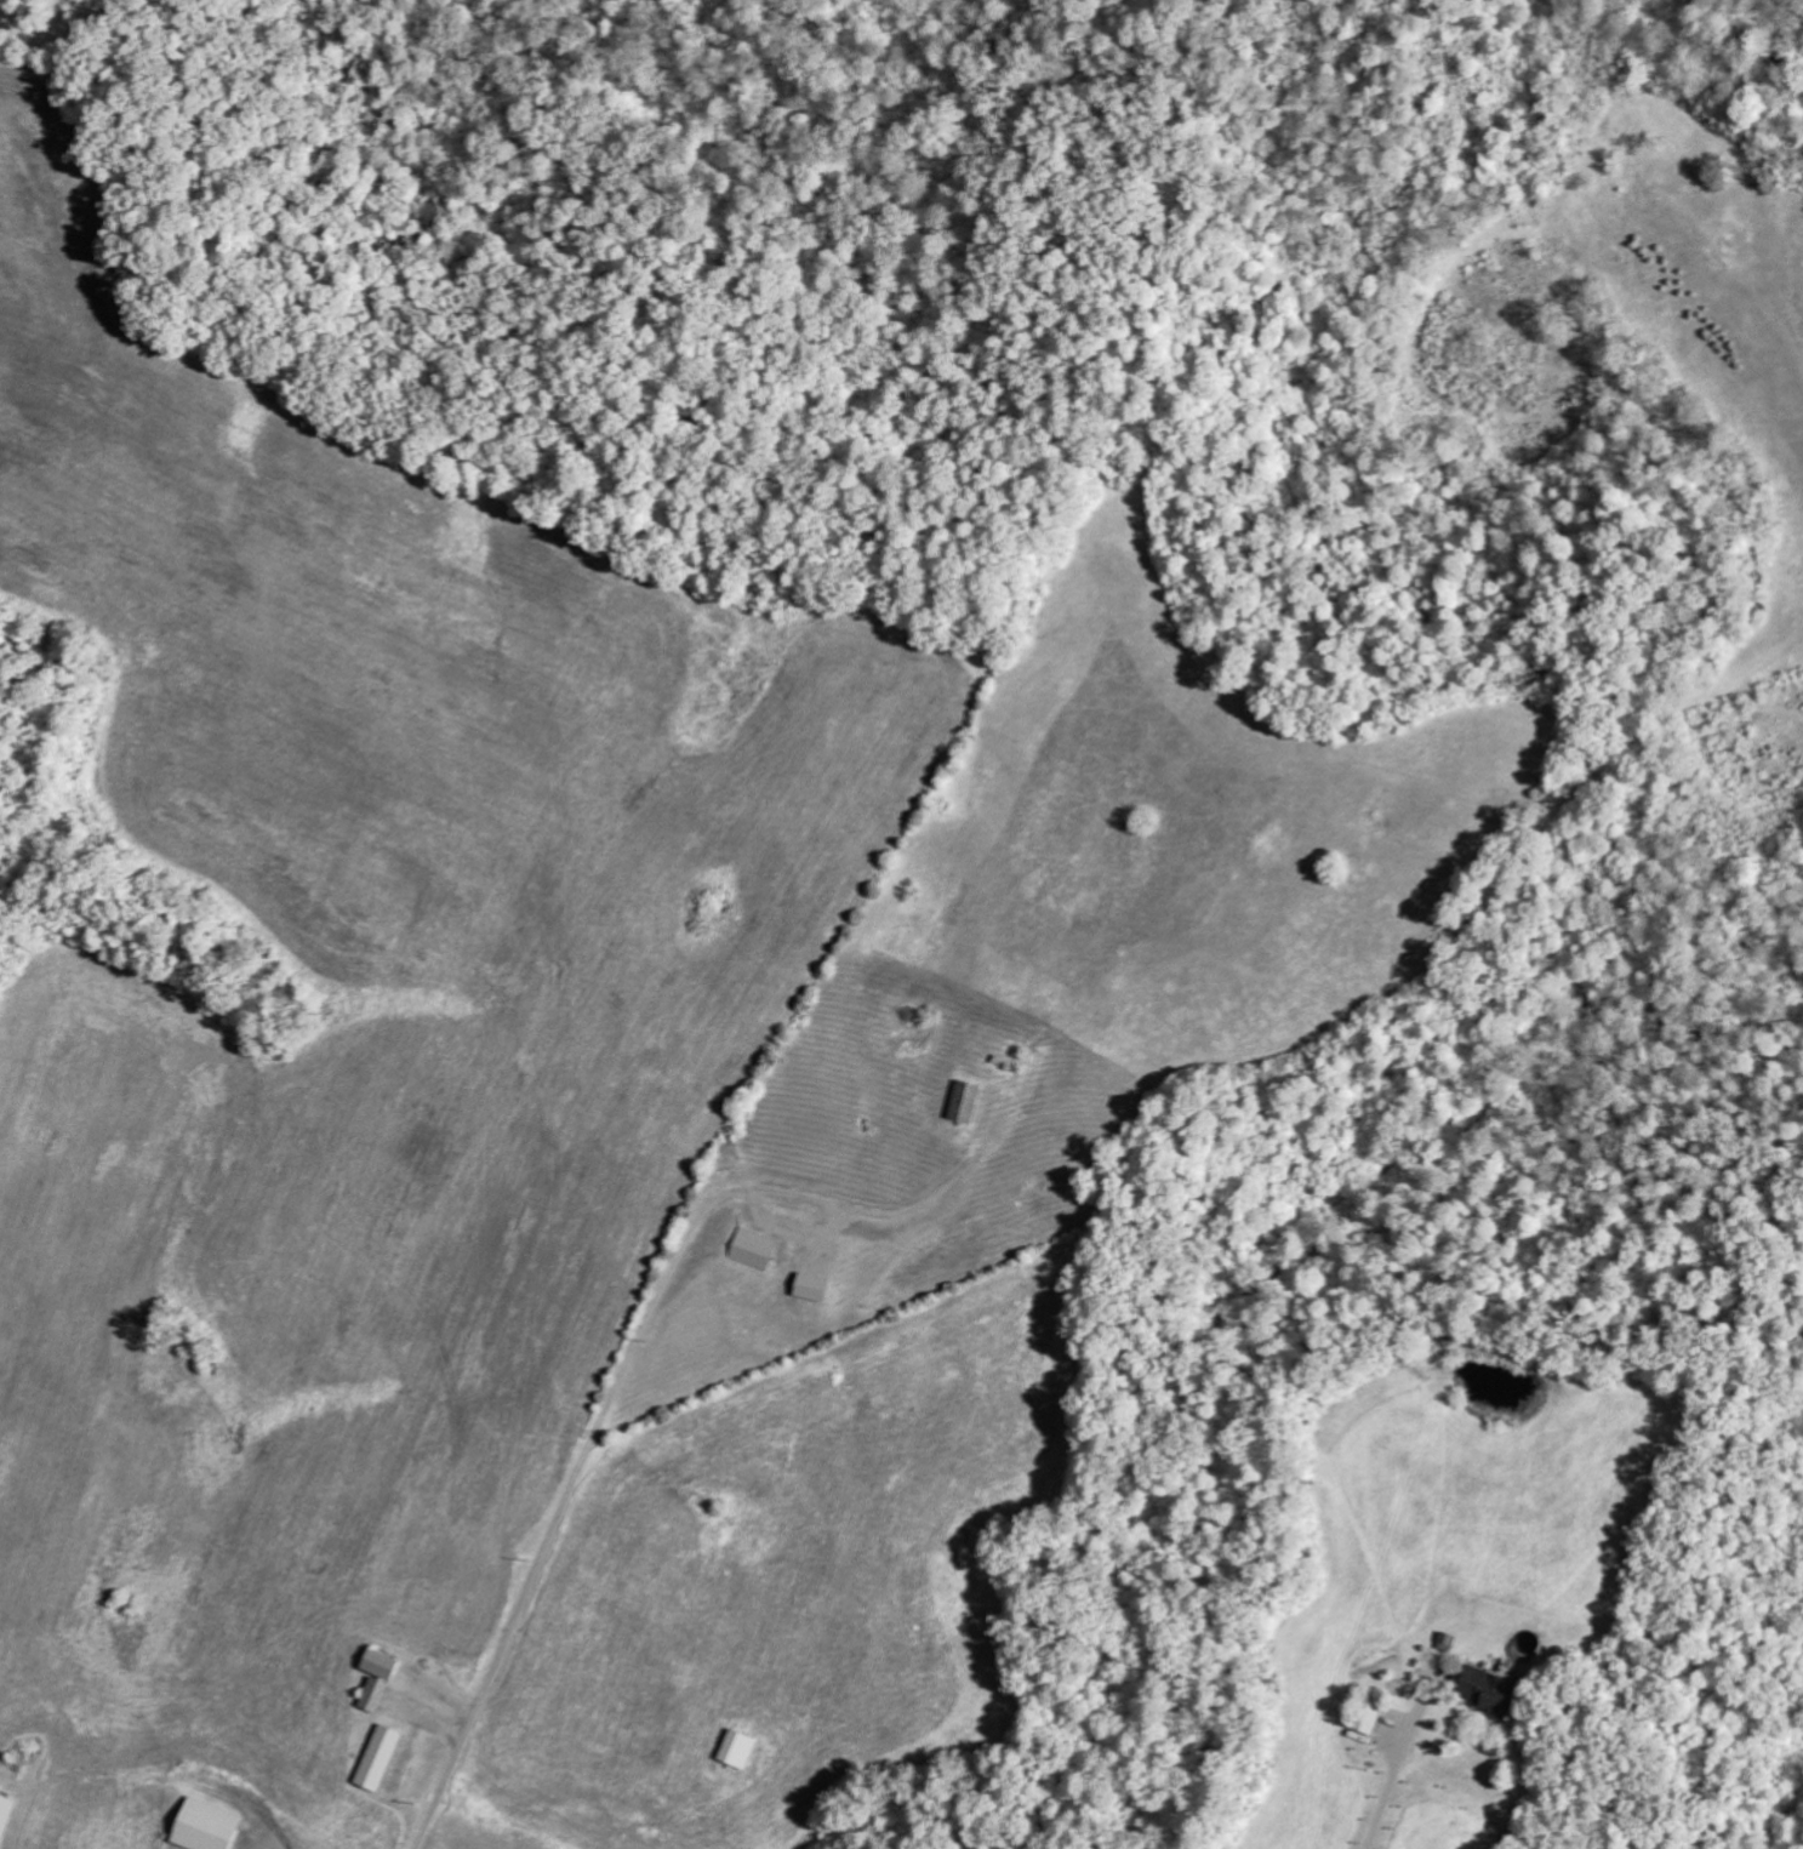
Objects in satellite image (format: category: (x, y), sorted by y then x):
building: (972, 1102)
building: (759, 1250)
building: (820, 1288)
road: (553, 1513)
building: (383, 1679)
building: (1480, 1691)
building: (1363, 1714)
building: (744, 1750)
building: (384, 1758)
building: (8, 1817)
building: (213, 1827)

